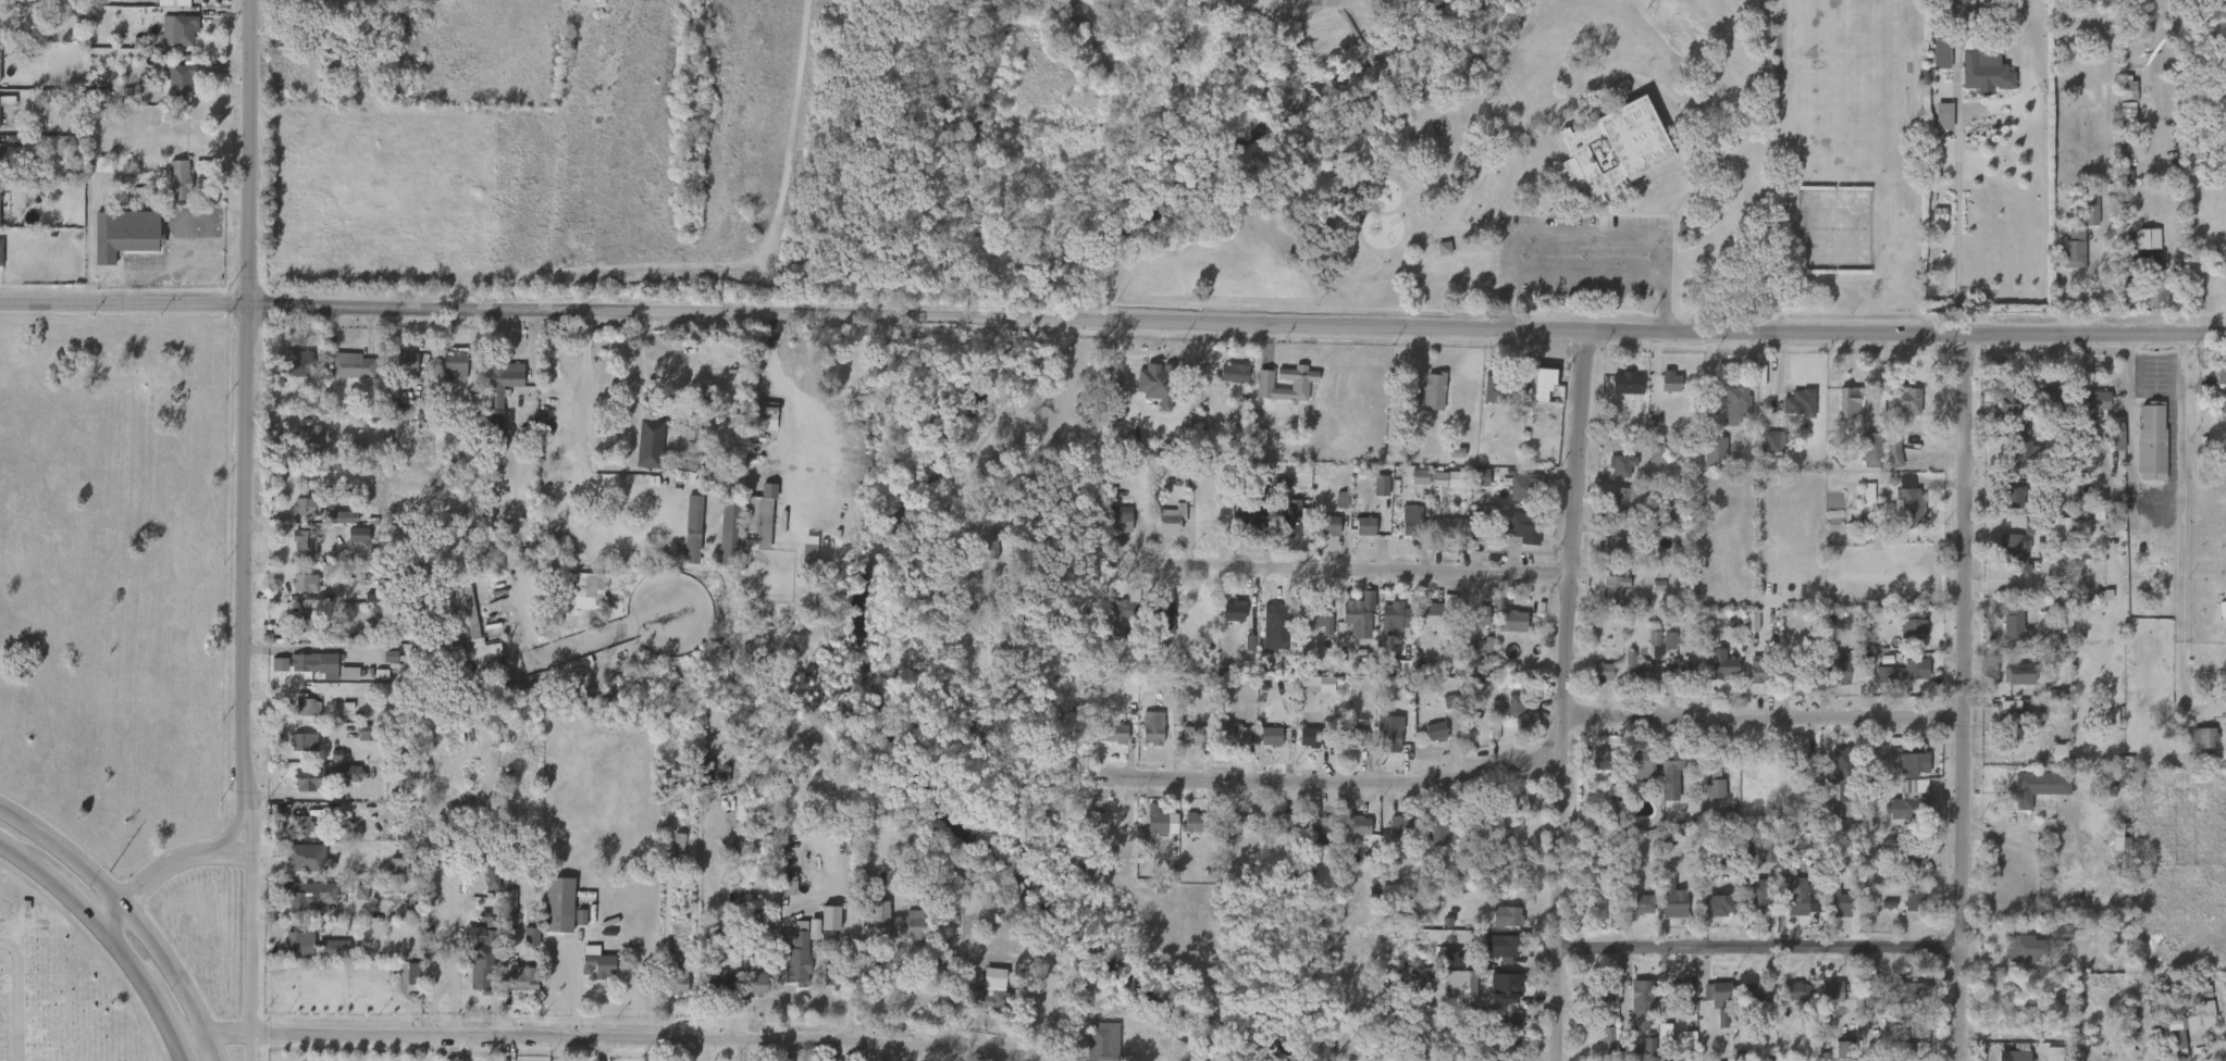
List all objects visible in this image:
park: (1322, 0)
building: (1970, 2)
building: (2088, 5)
building: (165, 8)
building: (183, 28)
building: (1930, 63)
building: (1984, 72)
building: (176, 79)
road: (1514, 100)
road: (1568, 103)
building: (7, 104)
building: (1946, 115)
road: (1739, 116)
building: (1936, 125)
building: (1612, 148)
park: (1514, 149)
building: (181, 179)
building: (172, 189)
building: (2090, 205)
building: (2081, 219)
road: (1958, 222)
building: (125, 238)
road: (1578, 248)
building: (2074, 248)
building: (0, 252)
building: (2064, 258)
road: (180, 270)
road: (502, 310)
road: (1034, 321)
road: (1644, 332)
building: (299, 365)
building: (457, 365)
building: (354, 366)
road: (639, 366)
building: (400, 371)
building: (1235, 373)
building: (343, 375)
building: (446, 376)
building: (502, 382)
building: (1225, 383)
building: (1539, 383)
building: (1625, 383)
building: (1298, 384)
building: (2216, 389)
building: (1433, 390)
building: (1499, 390)
building: (1533, 392)
building: (1616, 392)
building: (1662, 392)
building: (1147, 394)
building: (1290, 395)
building: (1848, 400)
building: (1906, 400)
building: (1425, 401)
building: (1484, 401)
building: (1801, 401)
building: (2008, 402)
building: (2093, 402)
road: (787, 403)
building: (2053, 403)
building: (1729, 404)
building: (2042, 405)
road: (1001, 410)
building: (1896, 410)
building: (1791, 412)
building: (1840, 412)
building: (2000, 414)
building: (2085, 414)
building: (759, 425)
building: (2116, 433)
building: (2152, 439)
building: (279, 441)
building: (311, 441)
building: (2106, 442)
building: (650, 444)
road: (584, 446)
building: (1251, 447)
building: (300, 448)
building: (1872, 448)
building: (1893, 449)
building: (2025, 449)
building: (1714, 450)
building: (1763, 451)
building: (1863, 459)
building: (1648, 461)
building: (1884, 461)
building: (2016, 461)
building: (1447, 462)
building: (1706, 462)
building: (1623, 464)
building: (1615, 474)
building: (1526, 485)
building: (673, 486)
building: (1411, 486)
building: (1471, 486)
building: (1373, 495)
building: (2013, 495)
building: (1518, 497)
building: (1619, 501)
building: (1912, 503)
building: (1859, 504)
building: (308, 505)
building: (2004, 507)
building: (1670, 508)
building: (1901, 511)
building: (297, 515)
building: (763, 515)
road: (247, 517)
building: (1289, 517)
building: (1168, 519)
road: (2190, 521)
building: (333, 526)
building: (1526, 527)
building: (1113, 528)
building: (1455, 528)
building: (732, 529)
building: (1244, 529)
building: (1282, 529)
building: (1401, 530)
building: (721, 536)
building: (1321, 536)
building: (1516, 536)
building: (2048, 537)
building: (305, 544)
building: (350, 544)
building: (975, 544)
building: (2016, 551)
building: (296, 553)
building: (1606, 556)
building: (816, 559)
building: (801, 560)
building: (2005, 560)
road: (1368, 572)
building: (1613, 582)
building: (304, 583)
building: (596, 585)
building: (297, 592)
building: (579, 599)
building: (1437, 612)
building: (1125, 614)
building: (1358, 614)
building: (1158, 615)
building: (1397, 616)
building: (1321, 617)
building: (309, 620)
building: (1225, 621)
building: (1514, 621)
building: (2014, 623)
building: (1307, 624)
building: (1386, 625)
building: (1471, 625)
building: (1279, 626)
building: (1915, 626)
building: (1113, 627)
building: (1158, 628)
building: (1504, 631)
building: (1742, 632)
building: (2004, 633)
building: (1904, 638)
building: (1705, 639)
building: (471, 640)
building: (1655, 641)
building: (1646, 653)
building: (318, 663)
building: (1722, 666)
building: (1803, 666)
building: (1840, 666)
building: (384, 669)
building: (1760, 669)
building: (1640, 670)
building: (1905, 671)
building: (1686, 672)
building: (308, 673)
building: (273, 674)
building: (2021, 674)
building: (1388, 675)
building: (1632, 678)
building: (1748, 679)
building: (1895, 679)
building: (1594, 682)
building: (341, 683)
building: (2008, 683)
building: (1299, 695)
road: (1566, 696)
road: (1966, 698)
building: (306, 706)
building: (1507, 710)
building: (297, 714)
building: (2015, 715)
building: (2225, 719)
road: (1765, 721)
building: (1150, 727)
building: (1111, 733)
building: (1198, 735)
building: (1234, 735)
building: (1308, 735)
building: (1355, 737)
building: (2203, 740)
building: (306, 741)
building: (1427, 741)
building: (1104, 742)
building: (1381, 742)
building: (1184, 744)
building: (1226, 744)
building: (1262, 746)
building: (1301, 747)
building: (1346, 747)
building: (2194, 750)
building: (296, 751)
building: (1605, 757)
building: (1913, 761)
building: (2050, 763)
building: (1641, 764)
building: (1593, 769)
building: (1673, 770)
building: (1904, 774)
building: (1634, 775)
building: (310, 781)
building: (1706, 782)
building: (1840, 782)
building: (341, 783)
road: (1345, 783)
building: (1661, 786)
building: (2038, 786)
building: (302, 788)
building: (2184, 788)
building: (1706, 798)
building: (1901, 810)
building: (1500, 811)
building: (1161, 821)
building: (1190, 822)
building: (1236, 823)
building: (2039, 823)
building: (1284, 824)
building: (1435, 825)
building: (298, 826)
building: (1358, 826)
building: (1403, 826)
road: (233, 831)
building: (1323, 831)
building: (1184, 832)
building: (1153, 833)
building: (1275, 833)
building: (293, 835)
building: (1389, 835)
building: (1311, 836)
building: (1346, 836)
building: (1429, 844)
building: (2120, 850)
building: (669, 852)
building: (2111, 856)
building: (1757, 862)
building: (1915, 862)
building: (298, 865)
road: (164, 870)
building: (1905, 872)
building: (391, 875)
road: (49, 887)
building: (484, 887)
building: (310, 893)
building: (781, 893)
building: (1797, 895)
building: (1673, 897)
building: (1756, 900)
building: (1839, 900)
building: (354, 901)
building: (1717, 902)
building: (559, 903)
building: (302, 904)
building: (1913, 904)
road: (122, 906)
building: (1636, 906)
building: (1790, 908)
building: (1665, 910)
building: (1830, 911)
building: (502, 913)
building: (1711, 913)
building: (1903, 914)
building: (1506, 916)
building: (911, 924)
building: (1497, 925)
building: (828, 929)
building: (2067, 932)
building: (819, 936)
building: (871, 936)
building: (298, 940)
building: (942, 940)
building: (2061, 943)
building: (523, 946)
building: (1511, 947)
building: (2019, 949)
building: (290, 950)
building: (2149, 951)
road: (1763, 953)
building: (1500, 954)
building: (799, 956)
building: (324, 957)
building: (601, 963)
building: (790, 965)
building: (485, 966)
building: (589, 971)
building: (1445, 971)
building: (837, 975)
building: (719, 976)
building: (521, 977)
building: (679, 977)
building: (756, 983)
building: (514, 986)
road: (141, 987)
road: (455, 987)
building: (670, 987)
building: (1508, 987)
building: (824, 989)
road: (578, 990)
building: (710, 990)
building: (1603, 990)
building: (1802, 991)
building: (1831, 991)
building: (1908, 991)
building: (747, 993)
building: (1681, 993)
building: (1716, 993)
park: (53, 994)
building: (1454, 994)
building: (1497, 998)
building: (992, 999)
building: (1642, 1000)
road: (903, 1001)
building: (1743, 1001)
building: (1788, 1001)
building: (1822, 1001)
building: (1895, 1002)
building: (1708, 1003)
building: (1508, 1024)
building: (1714, 1027)
building: (2182, 1034)
road: (611, 1040)
building: (1909, 1041)
building: (1101, 1043)
building: (1901, 1047)
road: (250, 1048)
building: (1598, 1048)
road: (212, 1049)
road: (181, 1054)
building: (1638, 1054)
building: (2016, 1056)
building: (2045, 1058)
building: (1510, 1059)

